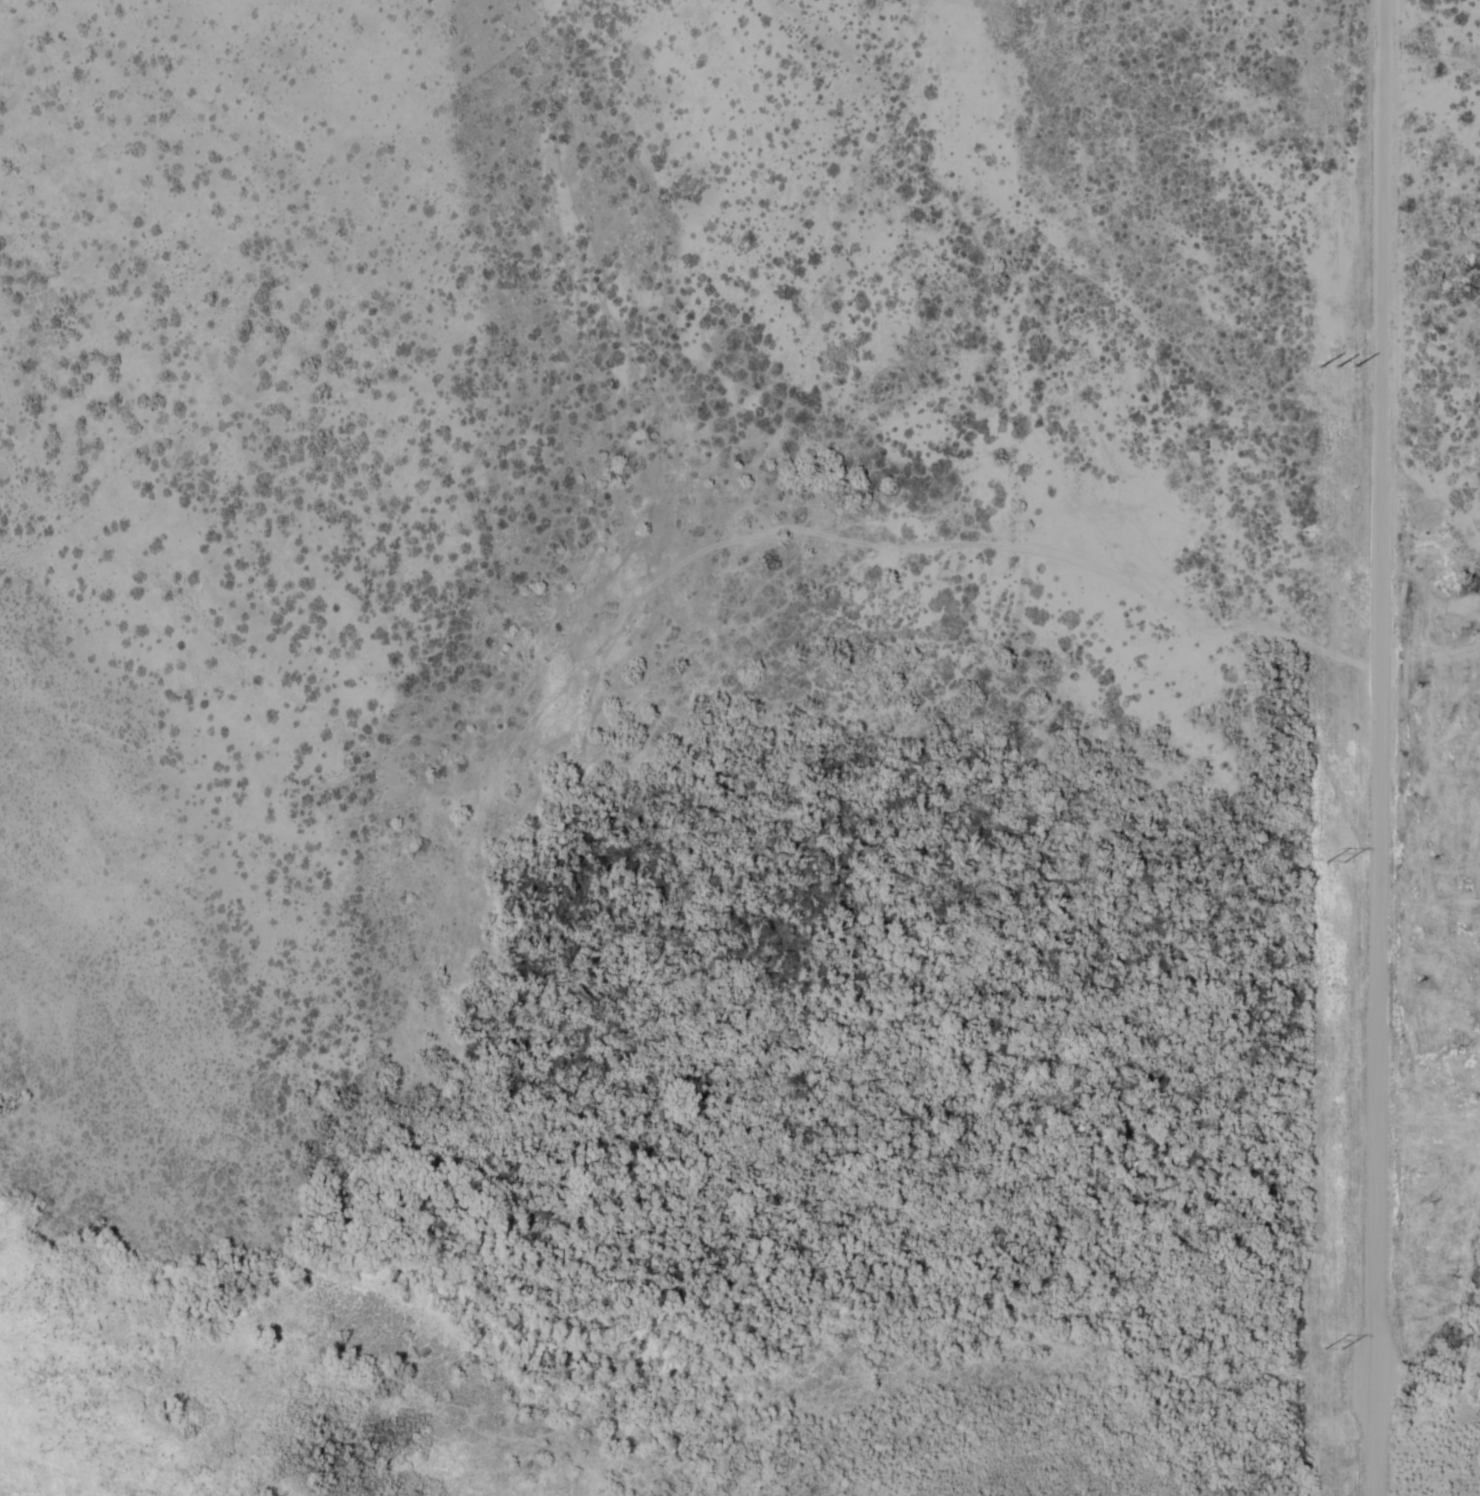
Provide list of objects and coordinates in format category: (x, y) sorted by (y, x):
power tower: (1328, 360)
power tower: (1328, 859)
power tower: (1327, 1347)

